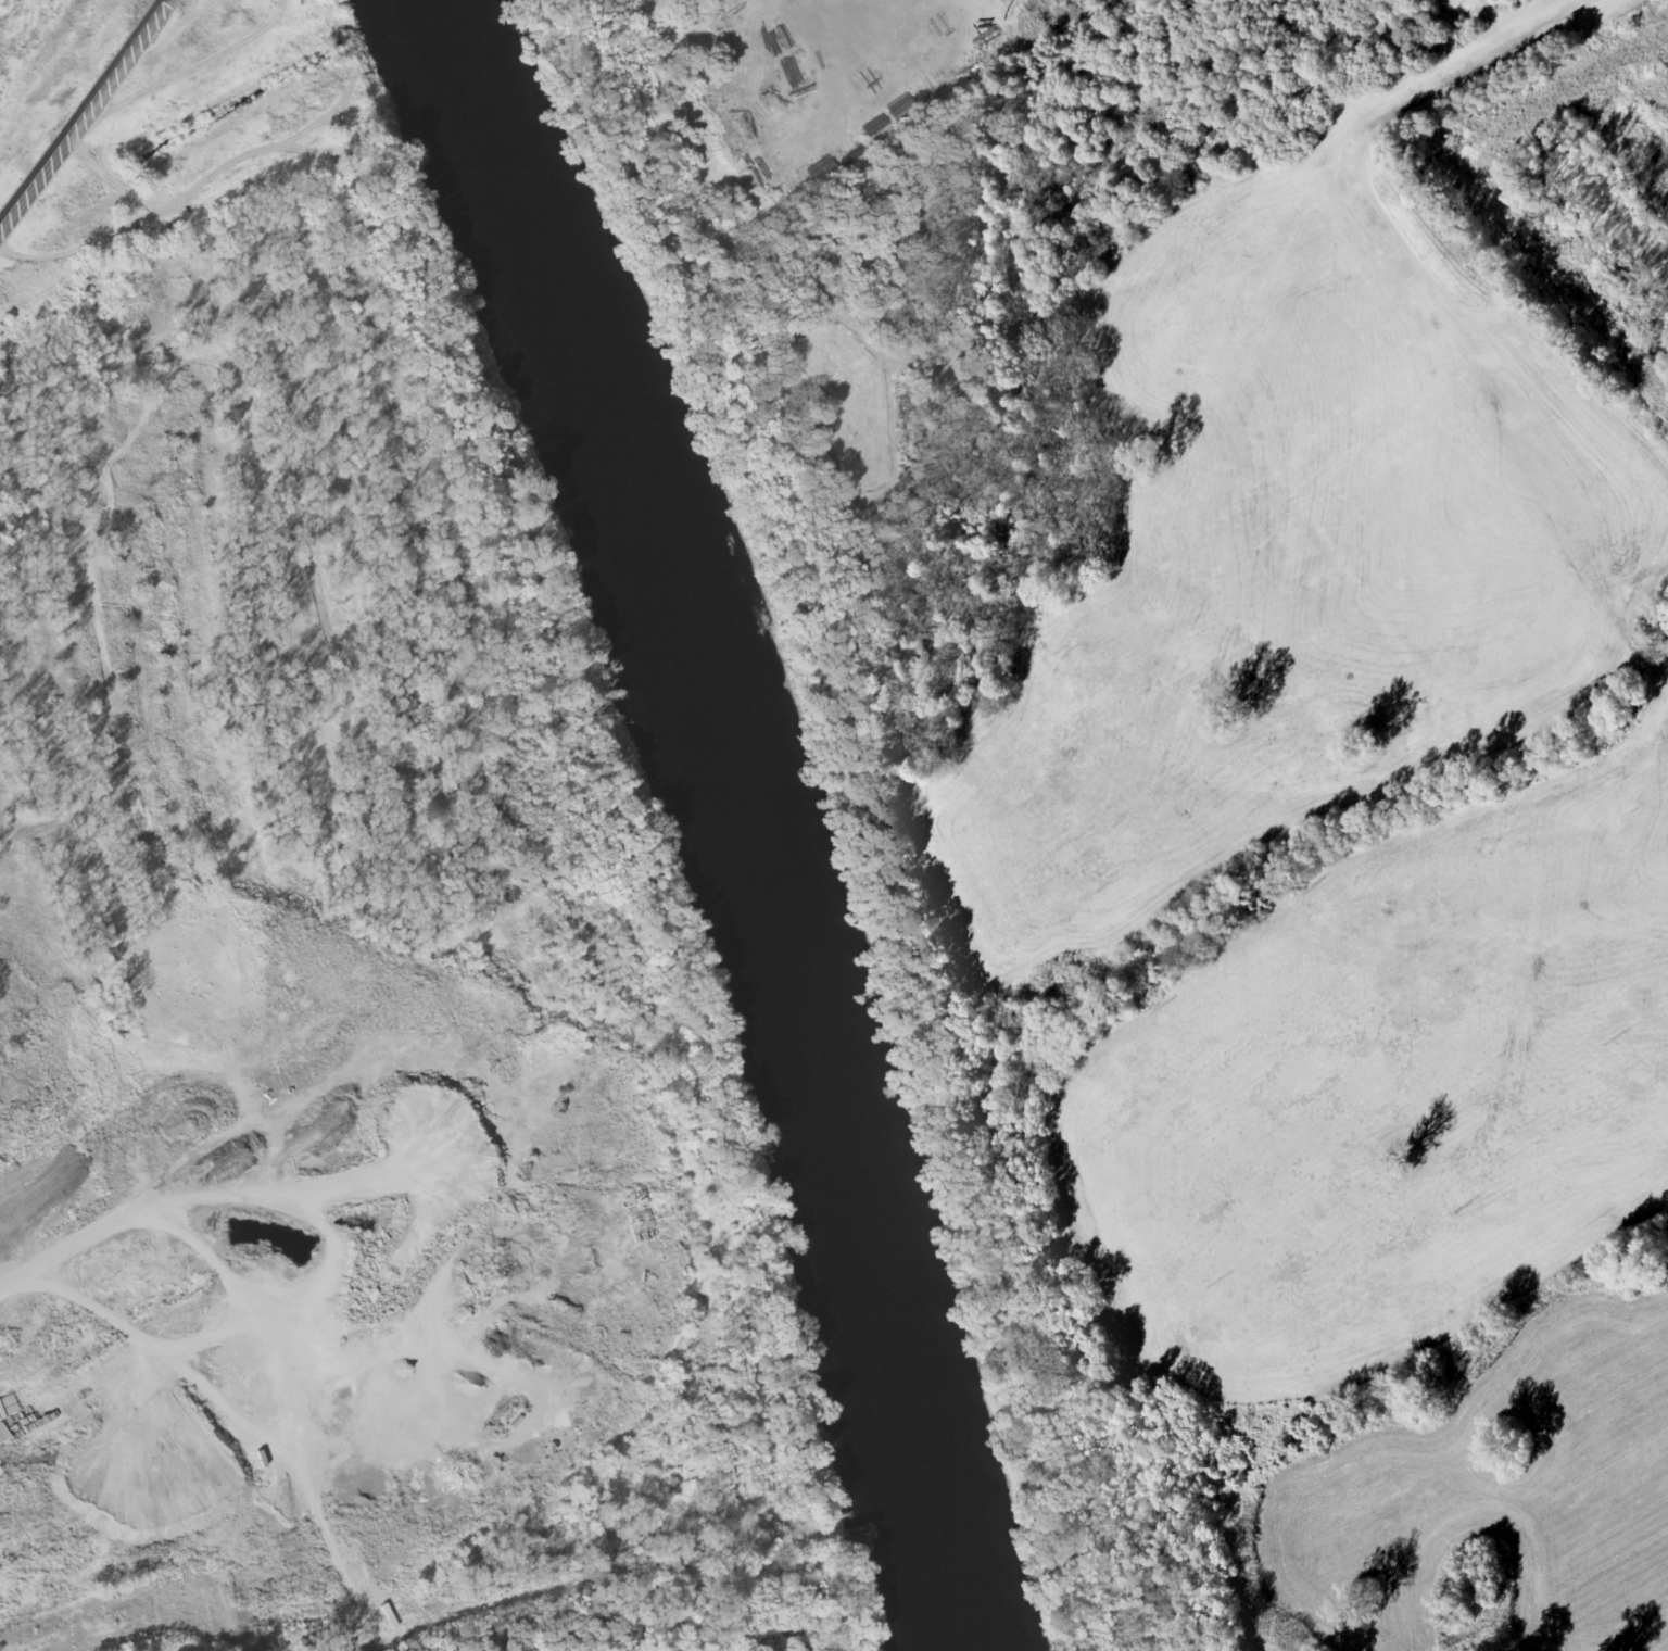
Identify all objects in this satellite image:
road: (86, 115)
building: (156, 165)
river: (756, 805)

